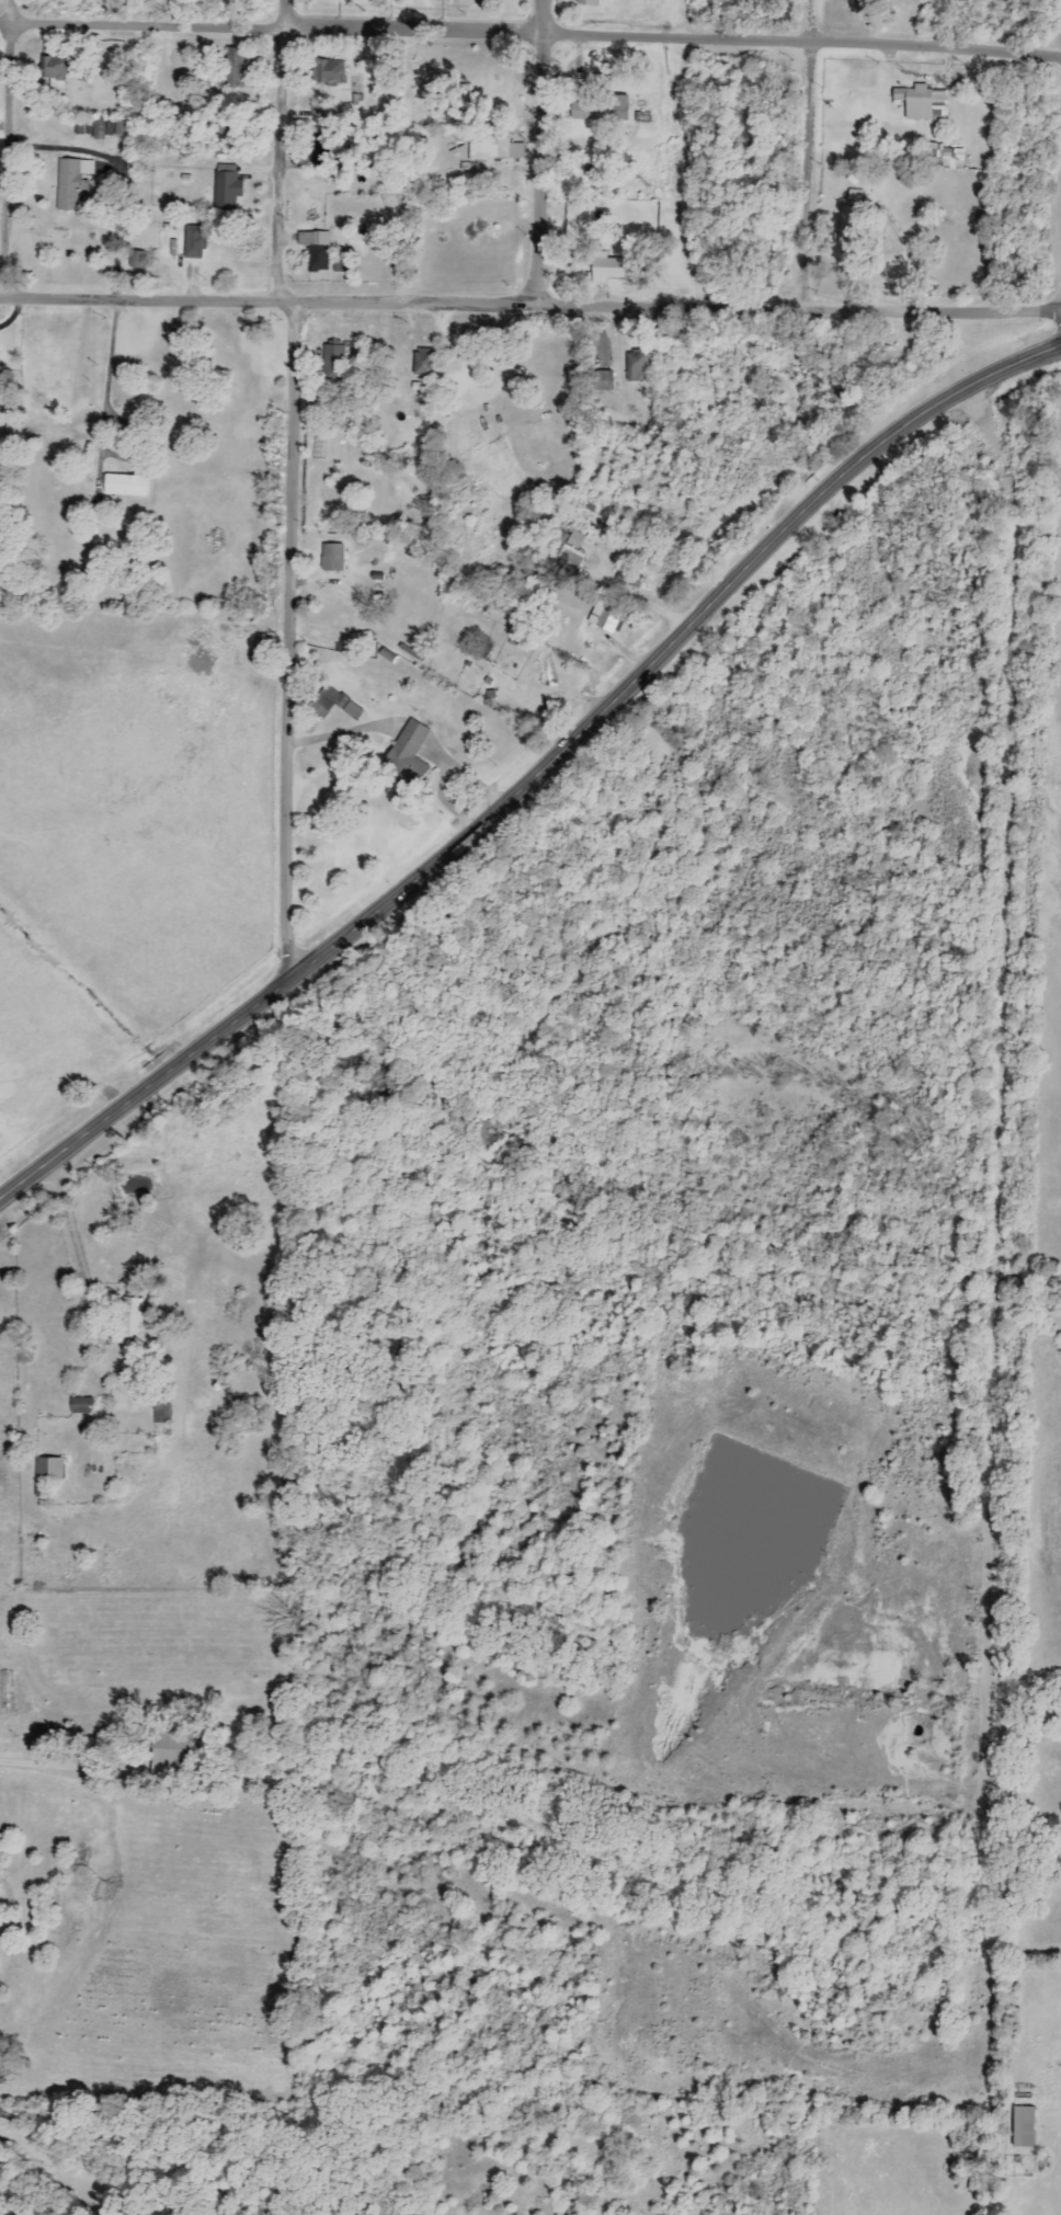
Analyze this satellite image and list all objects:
building: (587, 2)
road: (530, 30)
building: (56, 68)
building: (236, 69)
building: (327, 72)
building: (922, 103)
building: (600, 110)
building: (121, 128)
building: (99, 129)
building: (228, 139)
building: (322, 147)
road: (8, 148)
building: (489, 149)
road: (812, 150)
road: (538, 151)
building: (951, 163)
building: (72, 182)
building: (227, 187)
building: (855, 197)
building: (849, 226)
building: (54, 236)
building: (194, 242)
building: (318, 252)
road: (911, 252)
building: (137, 260)
road: (283, 265)
building: (605, 267)
road: (530, 302)
building: (334, 358)
building: (424, 362)
building: (635, 365)
road: (109, 378)
building: (598, 381)
building: (123, 486)
building: (573, 549)
building: (332, 558)
road: (640, 601)
building: (609, 617)
building: (327, 697)
building: (341, 701)
building: (352, 710)
road: (294, 753)
building: (407, 757)
road: (530, 775)
road: (84, 1290)
building: (133, 1318)
building: (81, 1405)
building: (162, 1414)
building: (48, 1469)
building: (38, 1488)
road: (34, 1762)
building: (1023, 2127)

